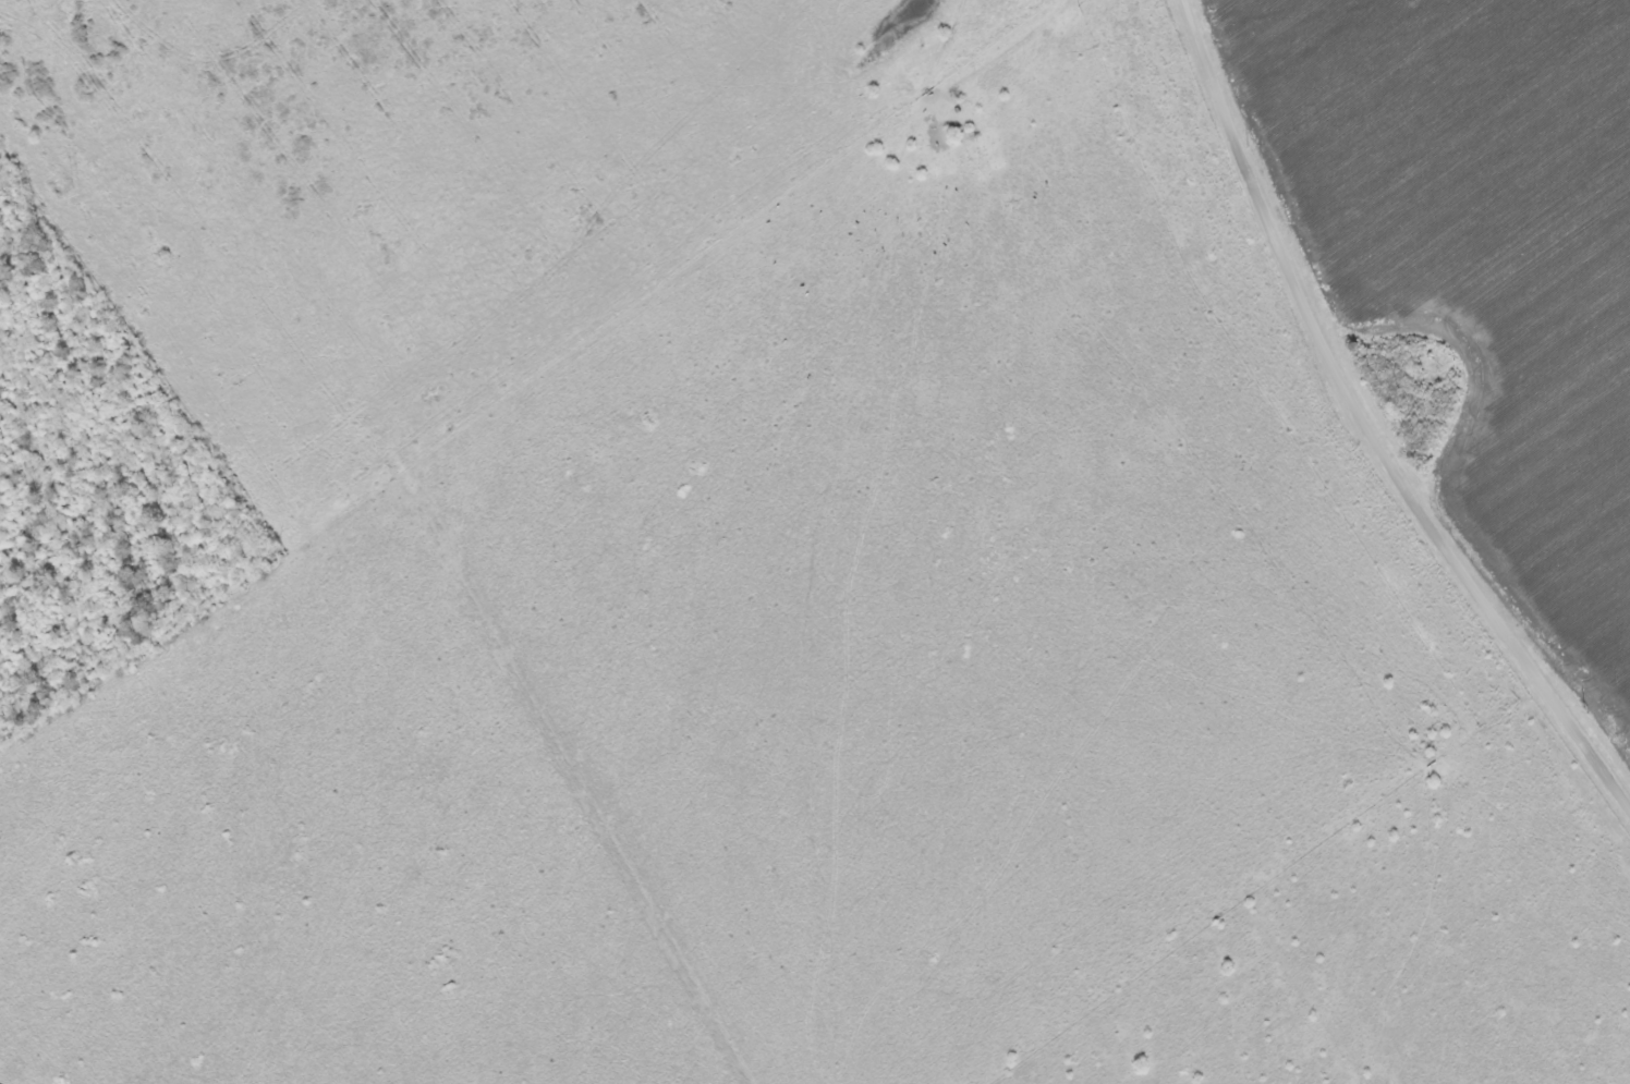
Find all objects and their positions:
road: (1367, 423)

